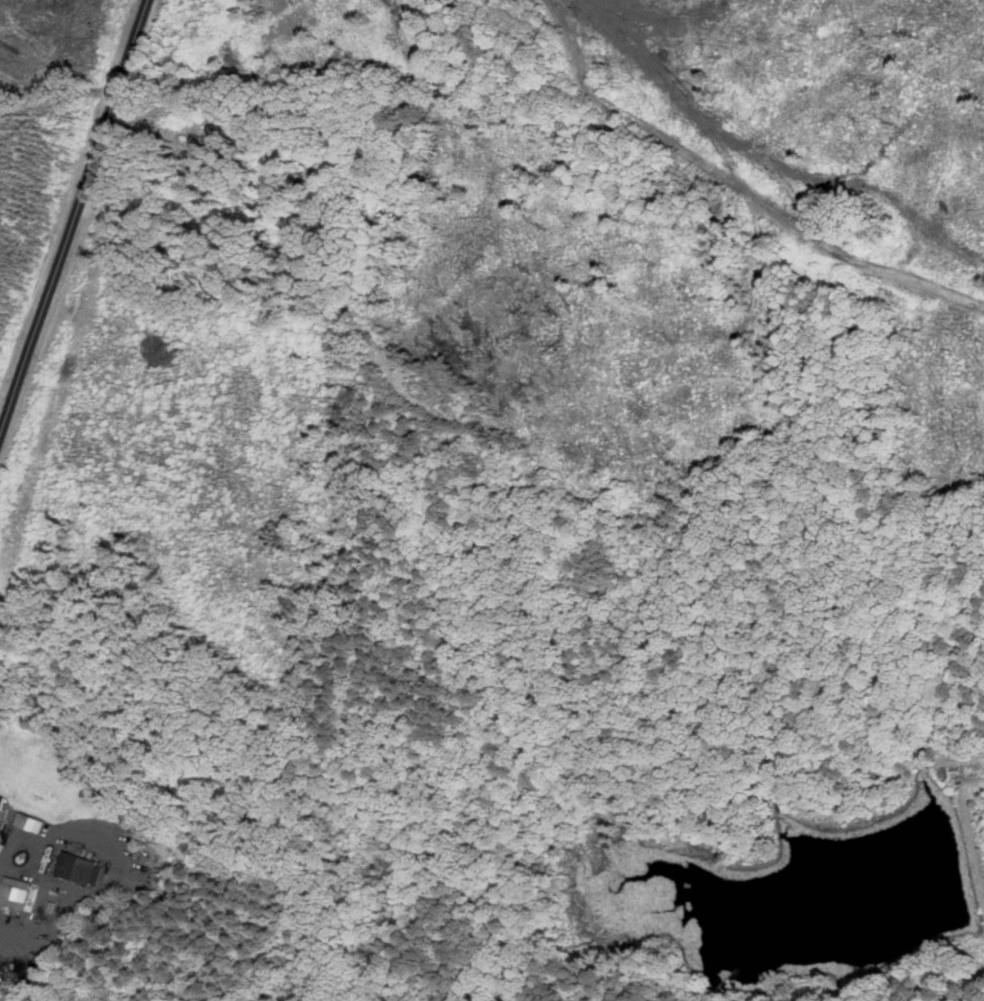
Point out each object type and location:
road: (74, 213)
road: (1, 430)
building: (2, 803)
building: (33, 821)
building: (82, 867)
building: (17, 892)

